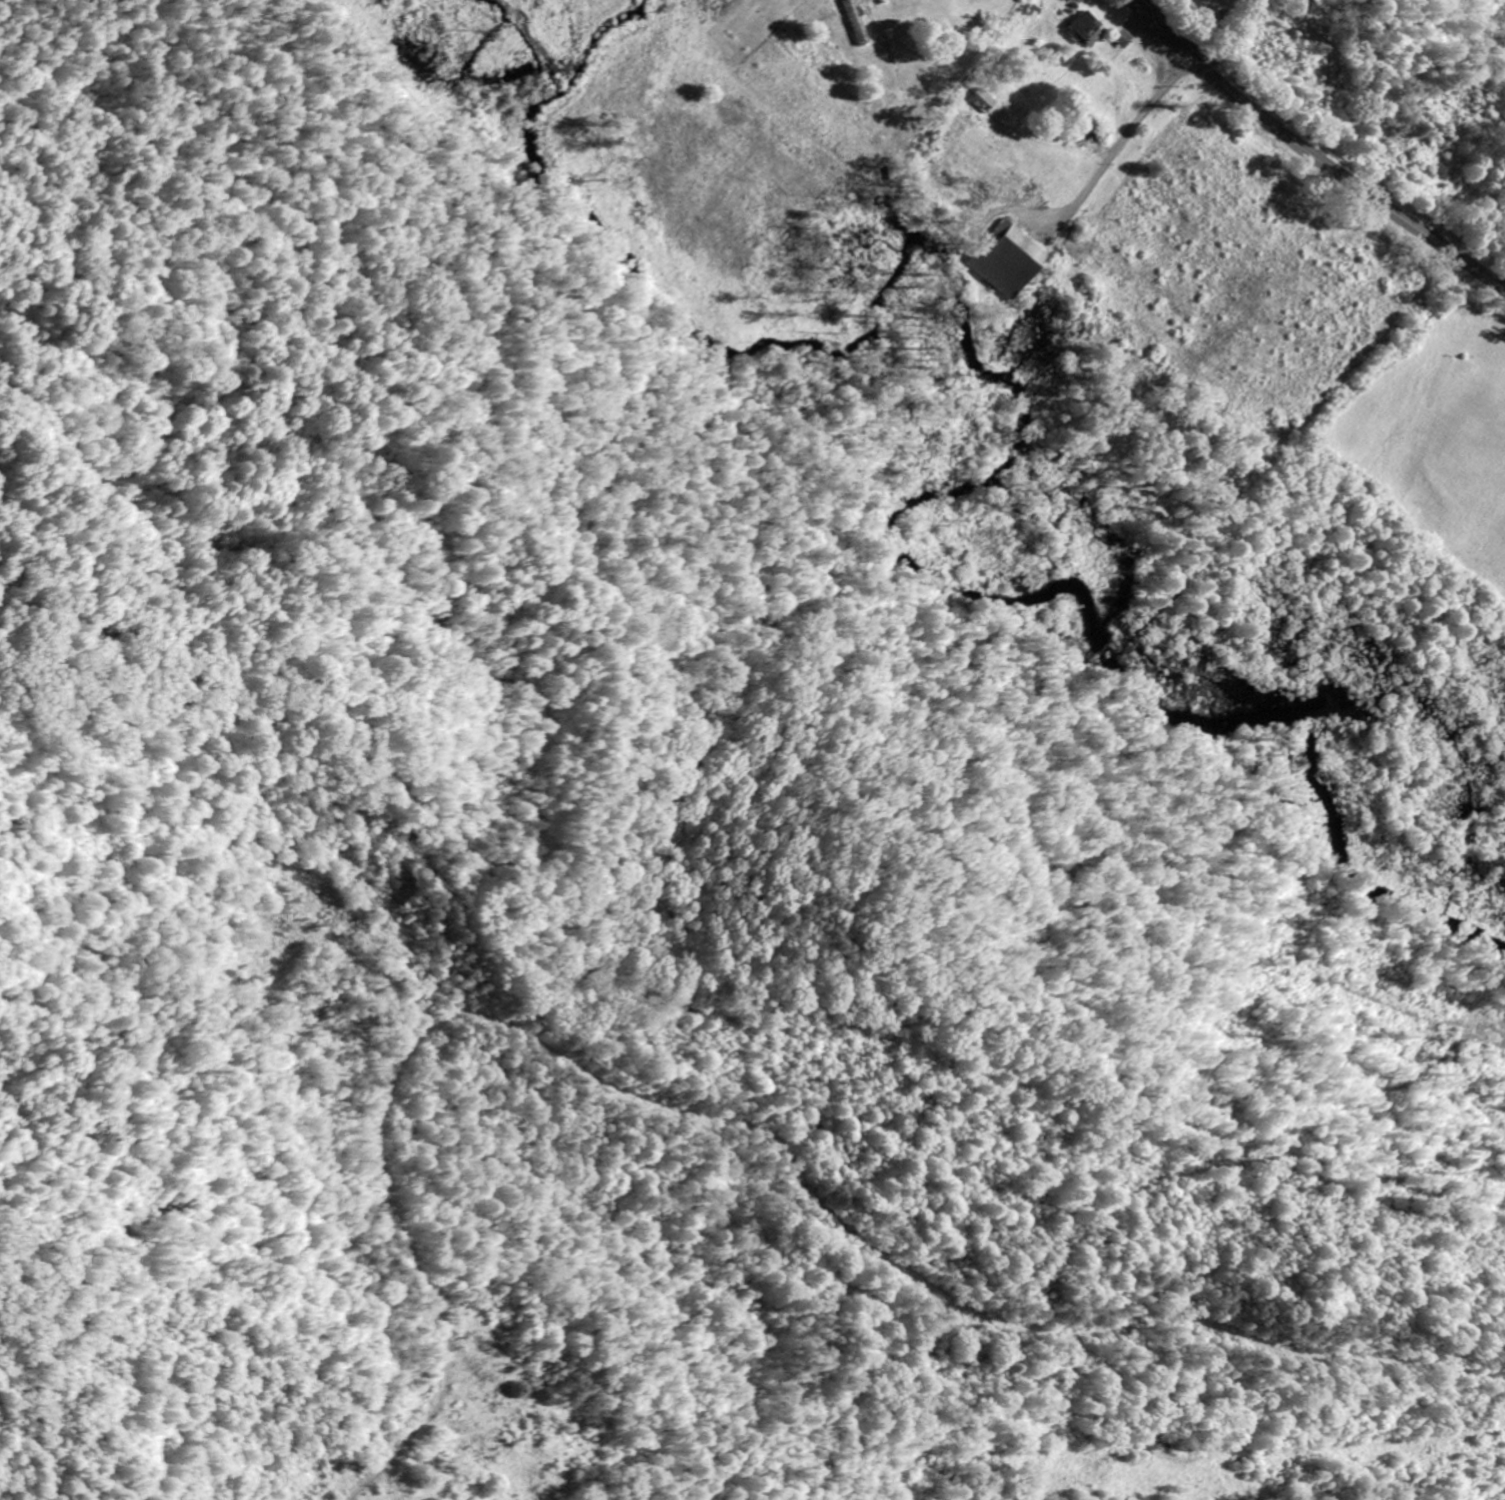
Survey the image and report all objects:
building: (1085, 30)
building: (1121, 37)
building: (983, 99)
road: (1311, 153)
building: (1008, 261)
road: (1332, 1451)

